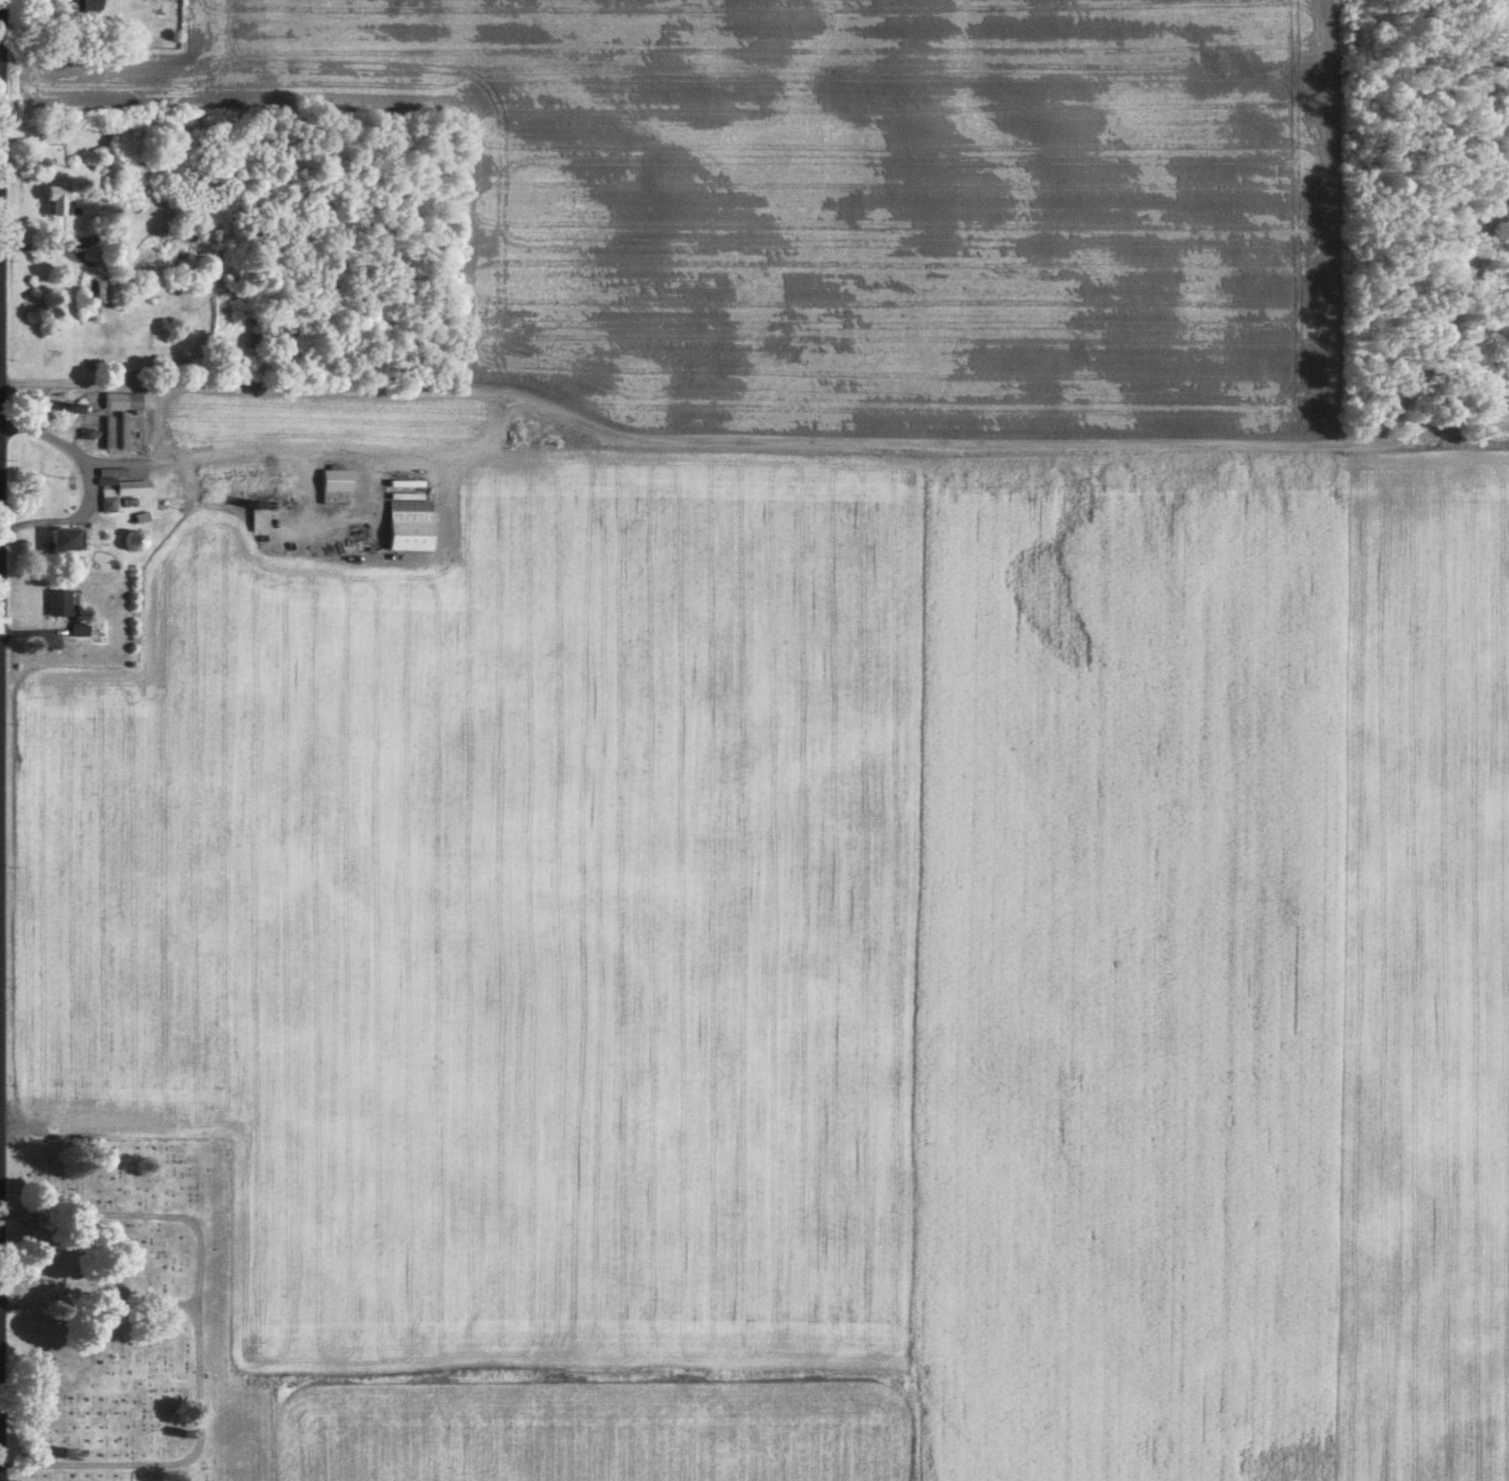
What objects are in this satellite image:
building: (93, 6)
building: (58, 201)
building: (171, 255)
road: (0, 264)
building: (90, 290)
building: (108, 291)
road: (0, 333)
building: (260, 335)
building: (124, 402)
road: (0, 475)
road: (92, 484)
building: (336, 488)
building: (124, 493)
building: (409, 519)
building: (260, 522)
building: (65, 541)
building: (136, 542)
building: (61, 605)
road: (1, 740)
park: (131, 1315)

